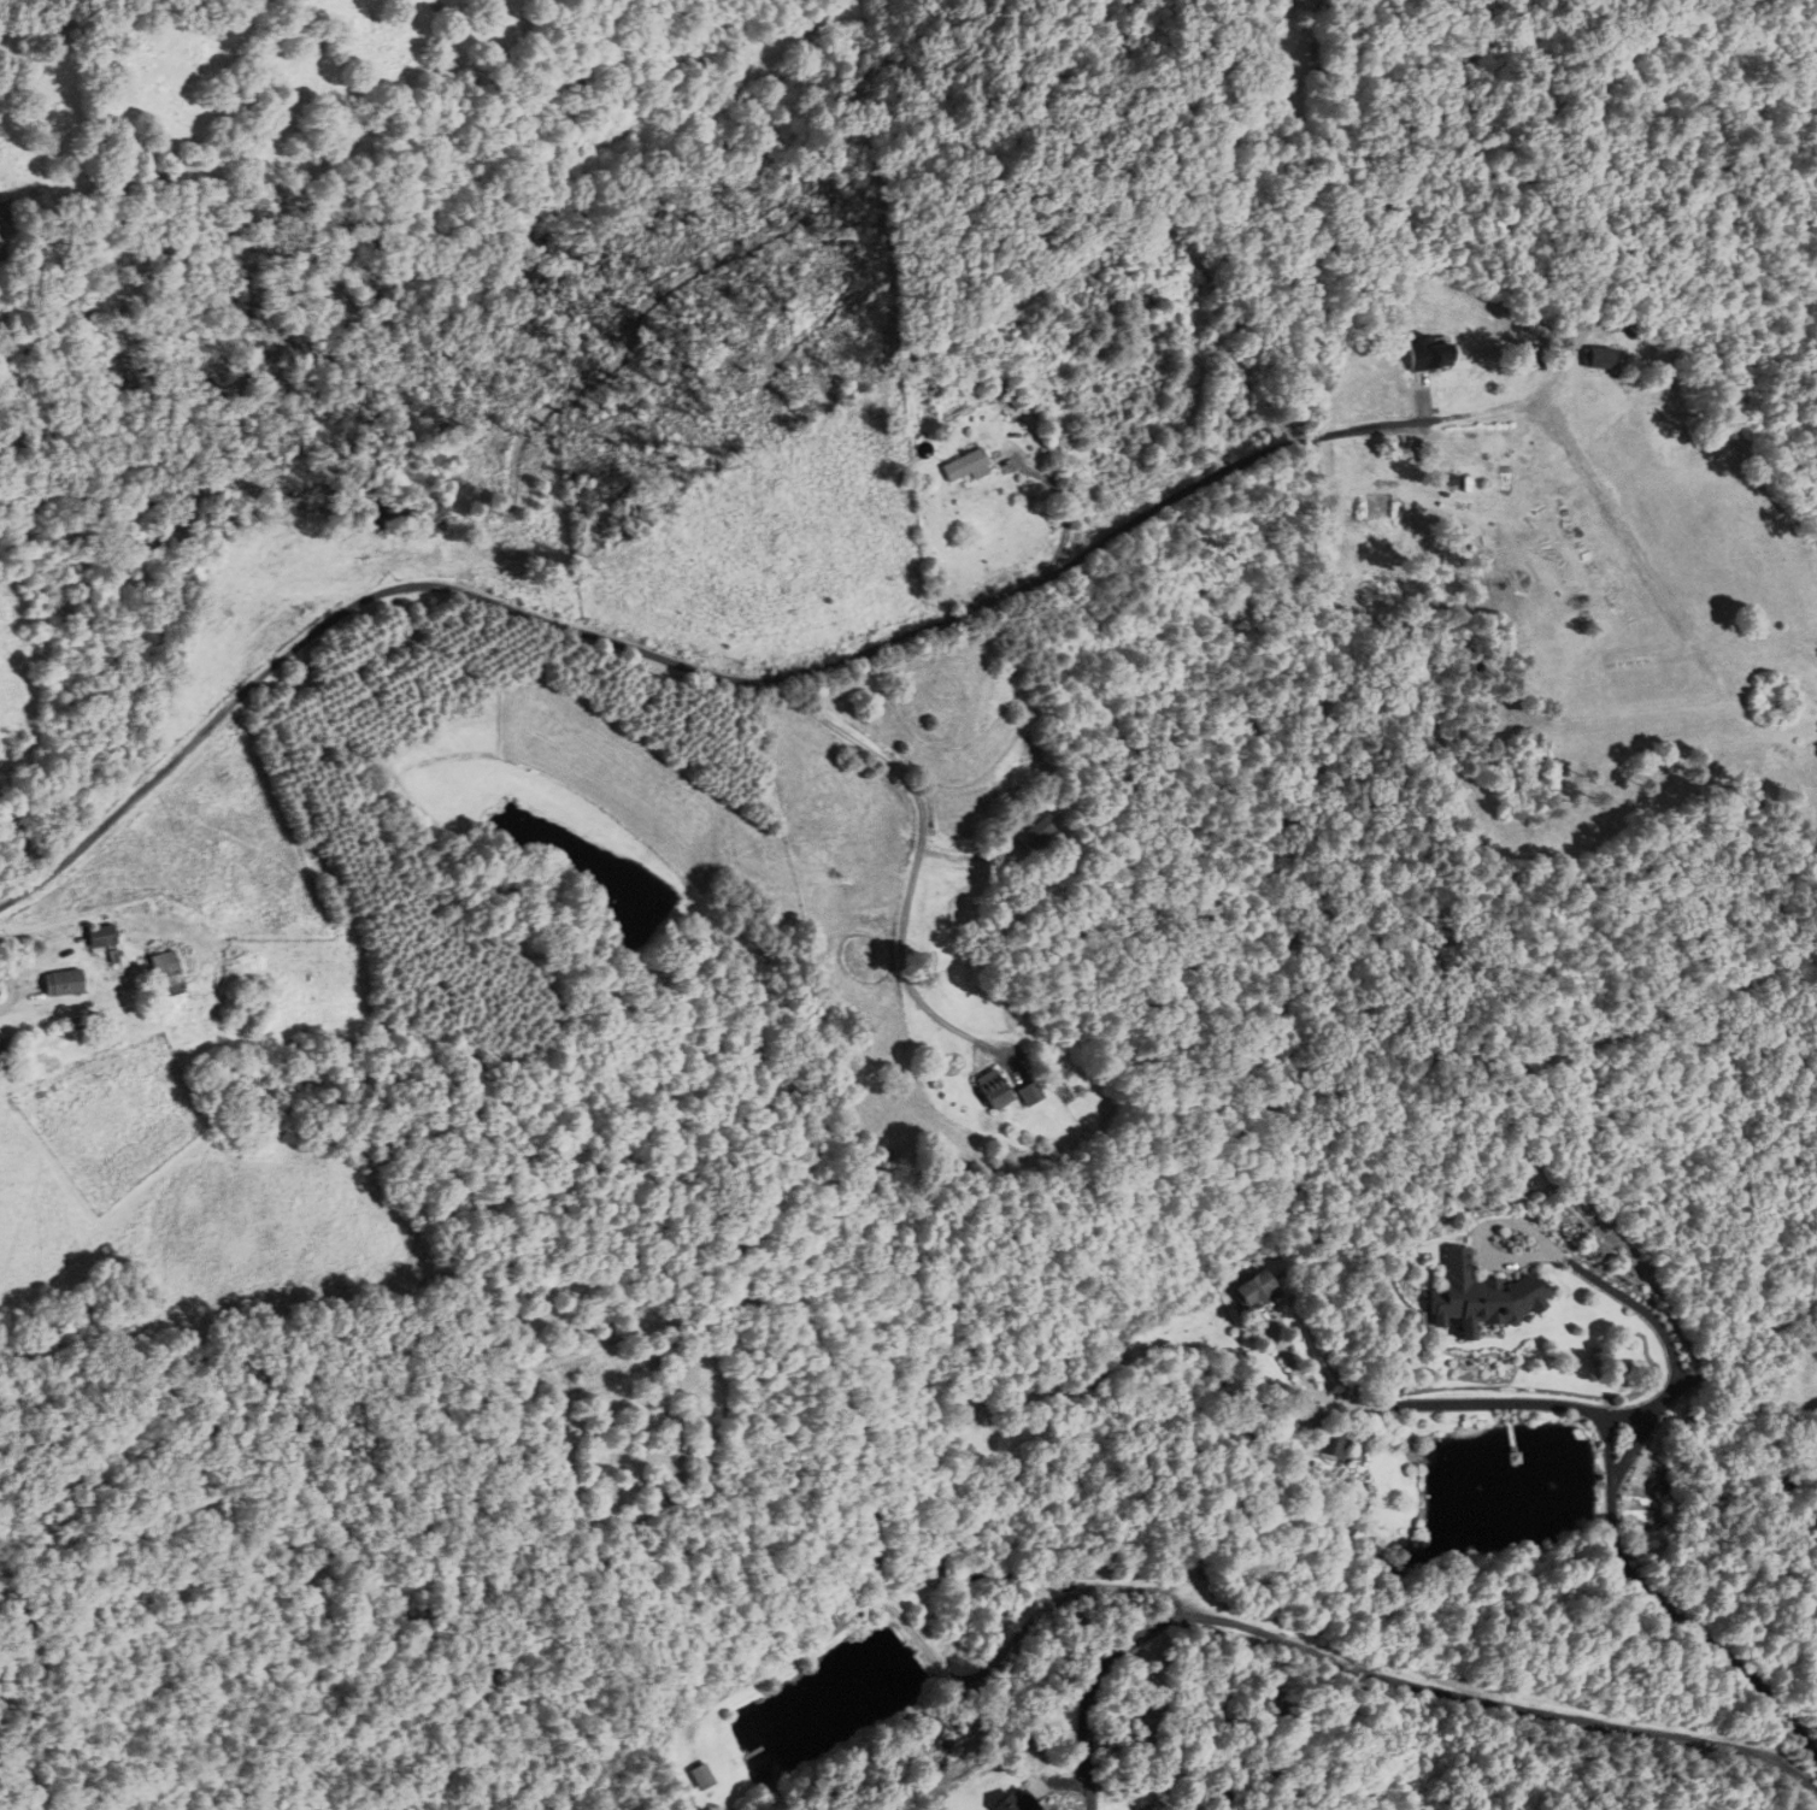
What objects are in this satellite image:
building: (0, 230)
building: (1137, 301)
building: (1599, 359)
road: (1358, 432)
building: (958, 467)
road: (610, 641)
building: (1028, 833)
road: (927, 845)
building: (101, 937)
building: (165, 974)
building: (63, 983)
building: (990, 1089)
building: (1028, 1093)
building: (1260, 1287)
building: (1482, 1297)
road: (1668, 1334)
road: (1613, 1438)
building: (1334, 1445)
road: (1386, 1674)
building: (706, 1776)
building: (1017, 1802)

